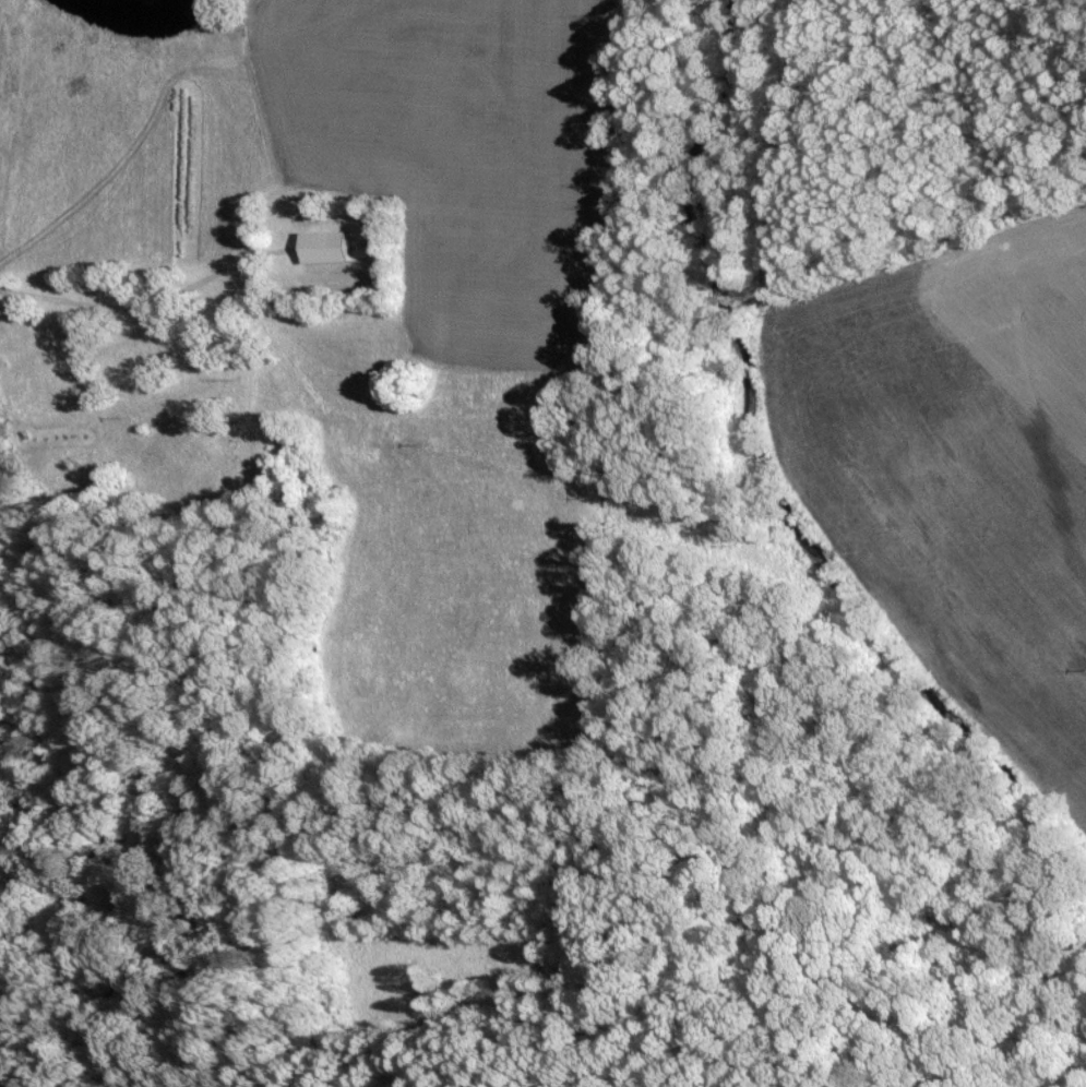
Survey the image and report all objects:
building: (326, 248)

